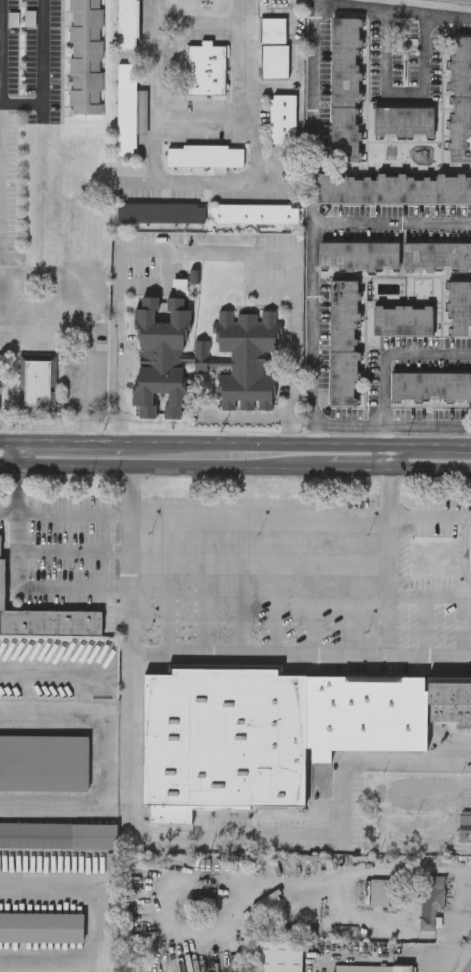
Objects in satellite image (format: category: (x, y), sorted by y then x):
road: (394, 9)
building: (127, 24)
building: (272, 29)
building: (85, 57)
building: (273, 61)
building: (206, 69)
road: (45, 73)
building: (344, 89)
road: (403, 94)
building: (460, 99)
building: (128, 109)
road: (197, 117)
building: (283, 118)
building: (403, 122)
road: (1, 131)
building: (205, 155)
road: (213, 184)
building: (394, 189)
building: (160, 211)
building: (254, 214)
road: (391, 219)
road: (312, 222)
road: (206, 249)
building: (359, 255)
building: (437, 256)
building: (459, 308)
building: (403, 320)
building: (343, 343)
road: (385, 356)
building: (202, 357)
building: (0, 381)
building: (35, 382)
building: (430, 386)
road: (251, 415)
road: (10, 441)
road: (71, 441)
road: (253, 443)
road: (428, 445)
road: (20, 452)
road: (386, 458)
road: (164, 467)
road: (359, 472)
road: (429, 472)
road: (10, 511)
road: (75, 512)
road: (258, 515)
road: (429, 515)
road: (129, 562)
road: (388, 564)
road: (19, 578)
road: (166, 585)
road: (199, 585)
road: (237, 586)
road: (274, 586)
road: (313, 586)
road: (348, 586)
road: (429, 597)
building: (47, 620)
road: (98, 669)
building: (449, 698)
building: (364, 713)
building: (222, 739)
building: (44, 761)
road: (101, 763)
road: (130, 785)
building: (464, 823)
building: (58, 835)
building: (429, 898)
road: (351, 905)
road: (463, 906)
building: (41, 925)
road: (98, 928)
road: (196, 933)
road: (450, 945)
road: (449, 952)
building: (275, 956)
road: (386, 958)
building: (371, 967)

